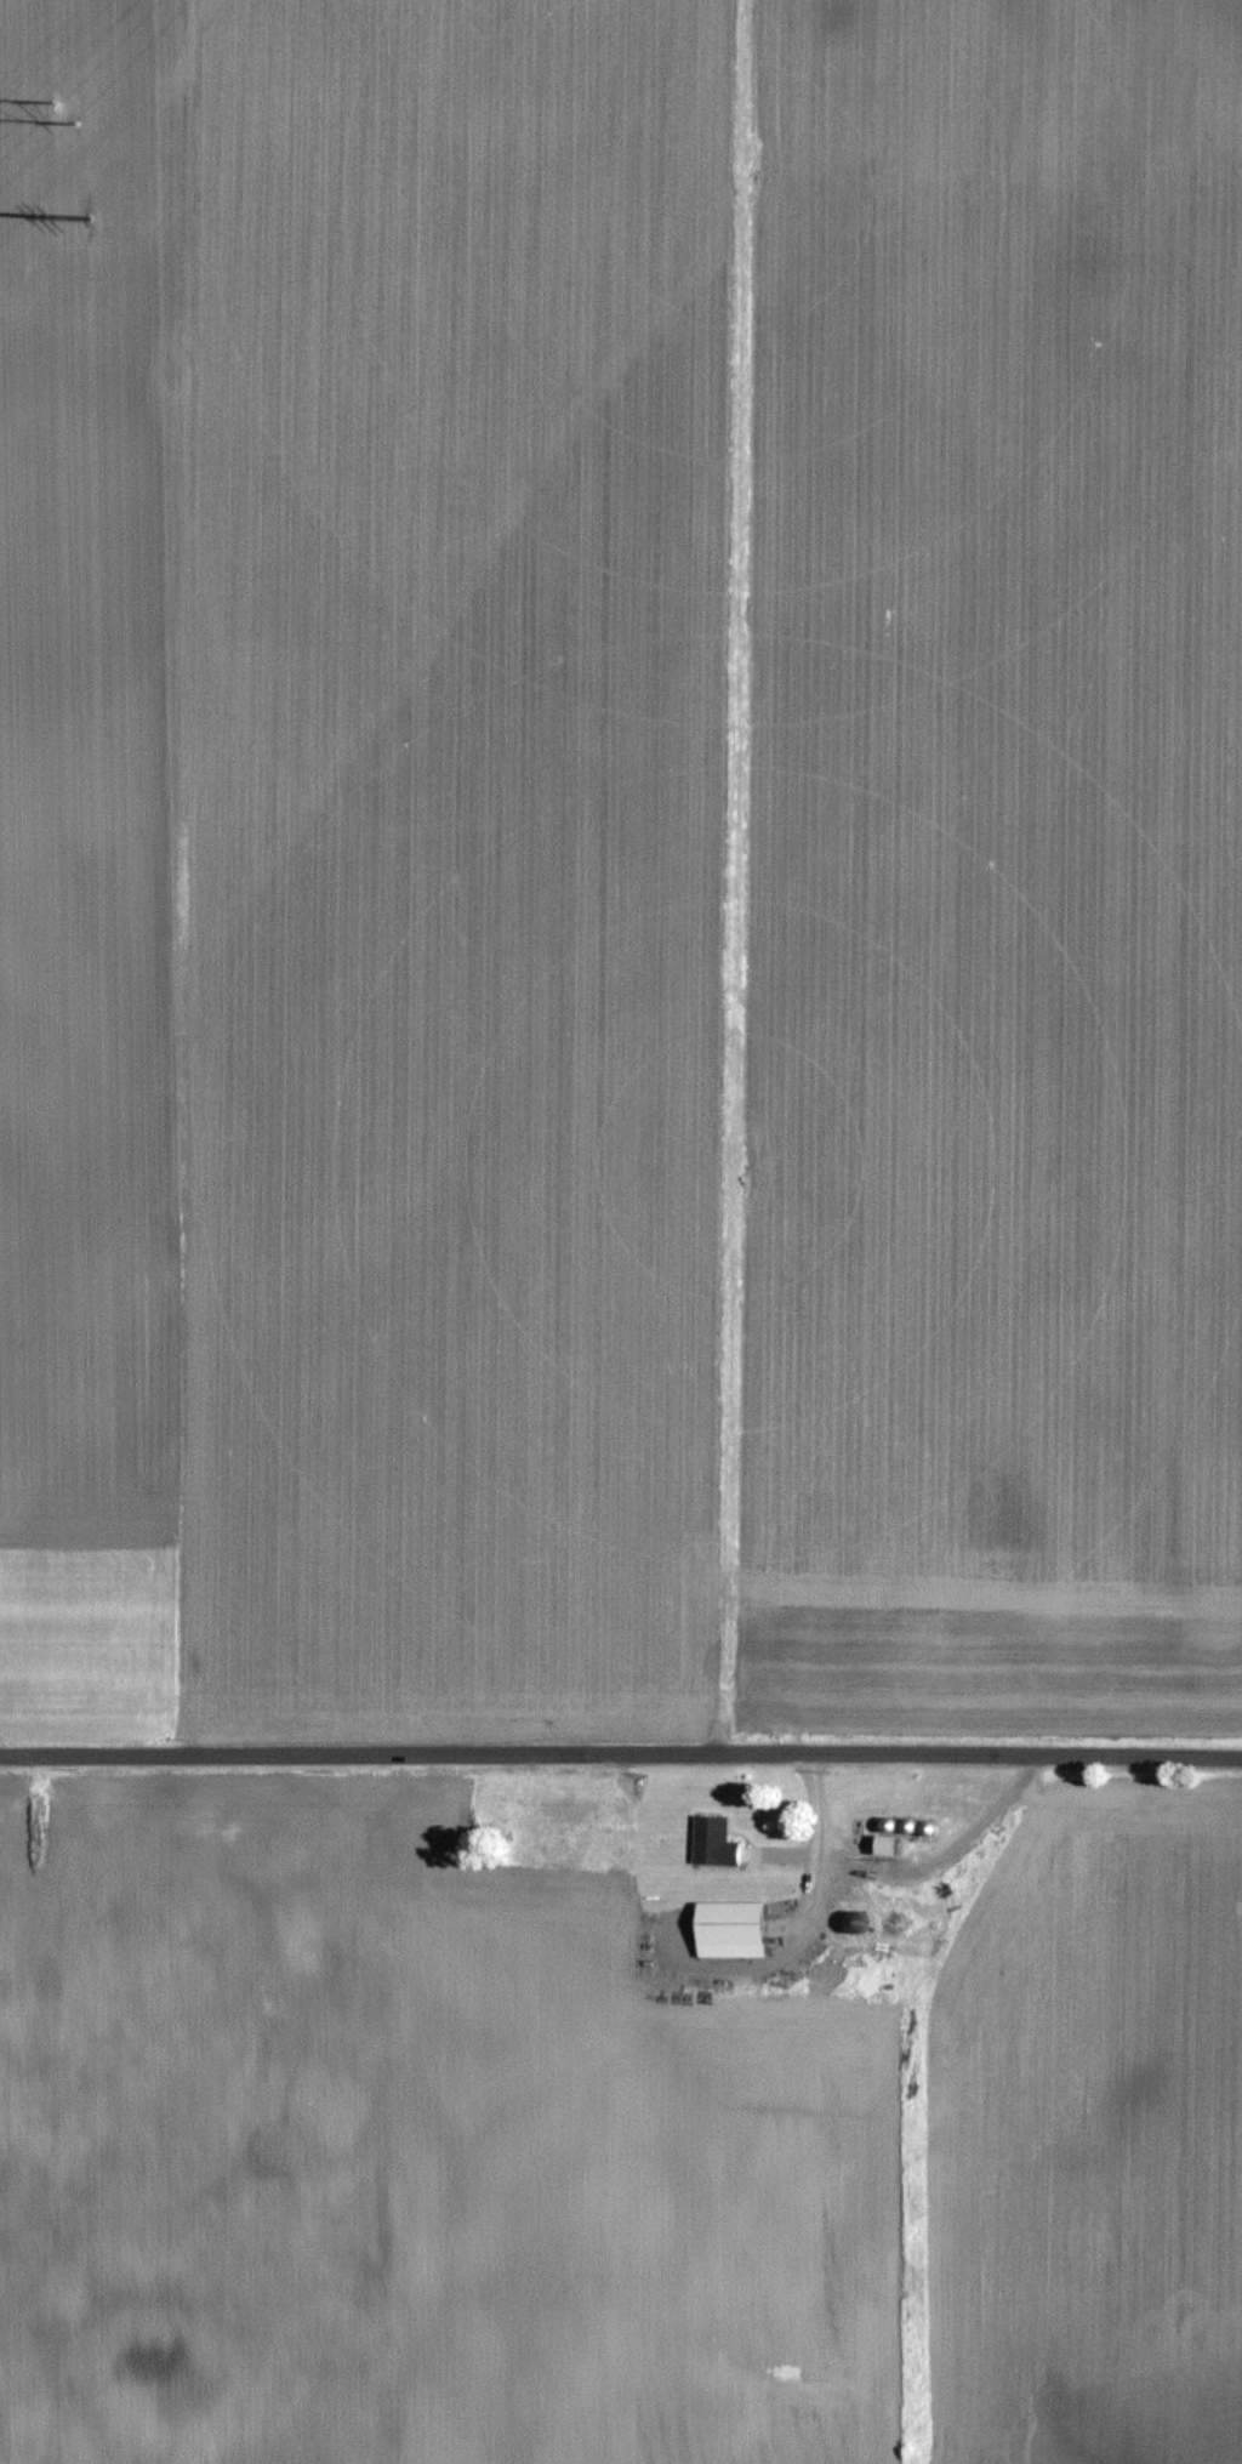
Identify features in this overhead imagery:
power tower: (59, 112)
power tower: (91, 221)
road: (620, 1754)
building: (713, 1840)
building: (887, 1844)
road: (905, 1872)
building: (890, 1922)
building: (731, 1928)

